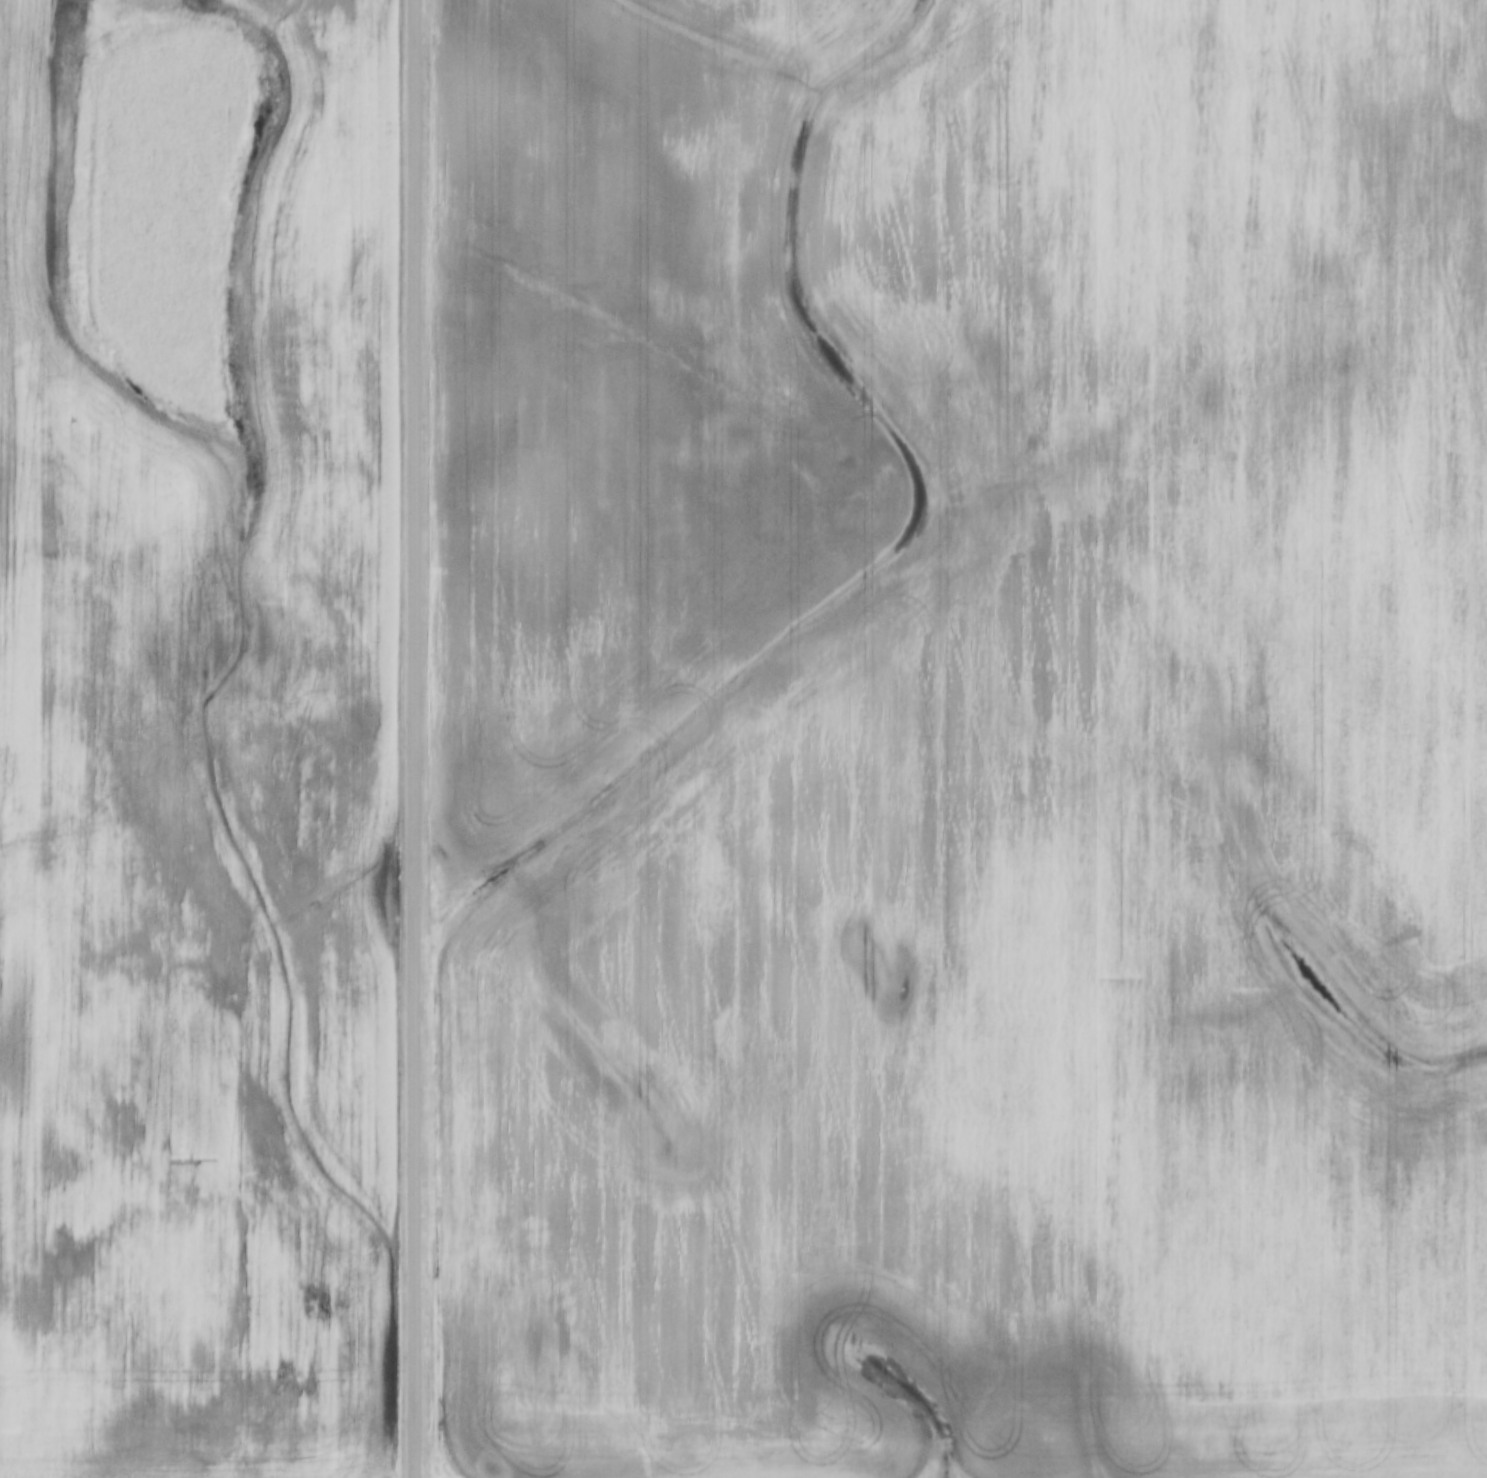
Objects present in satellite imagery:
road: (414, 739)

